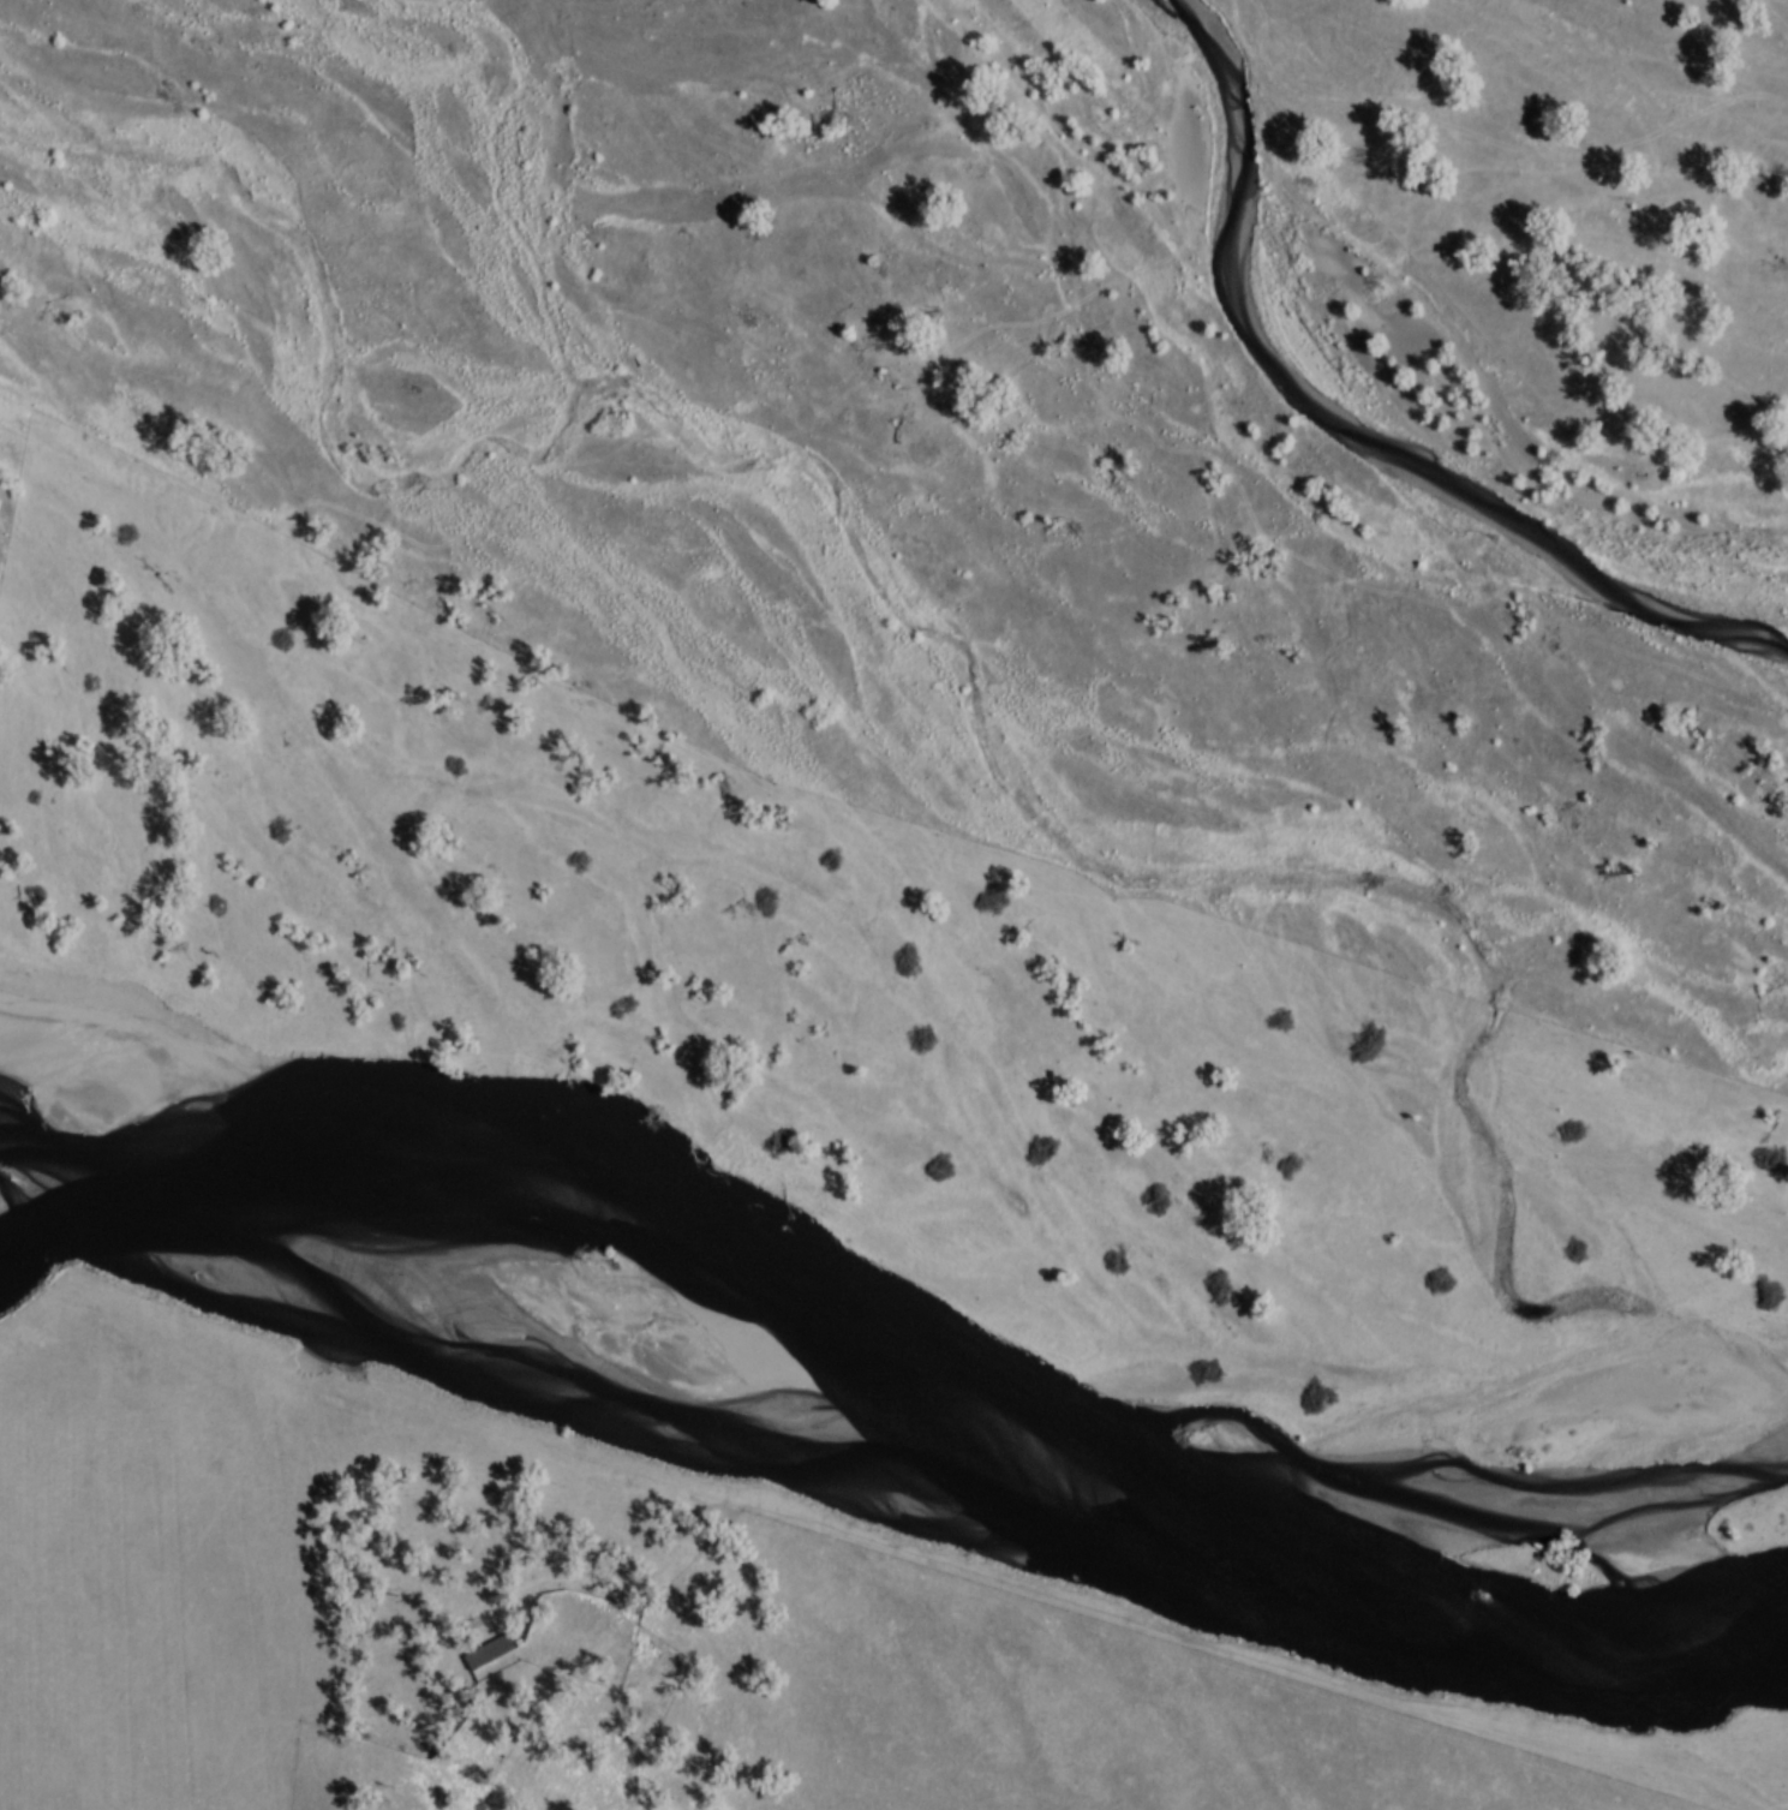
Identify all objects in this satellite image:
river: (879, 1460)
building: (482, 1657)

